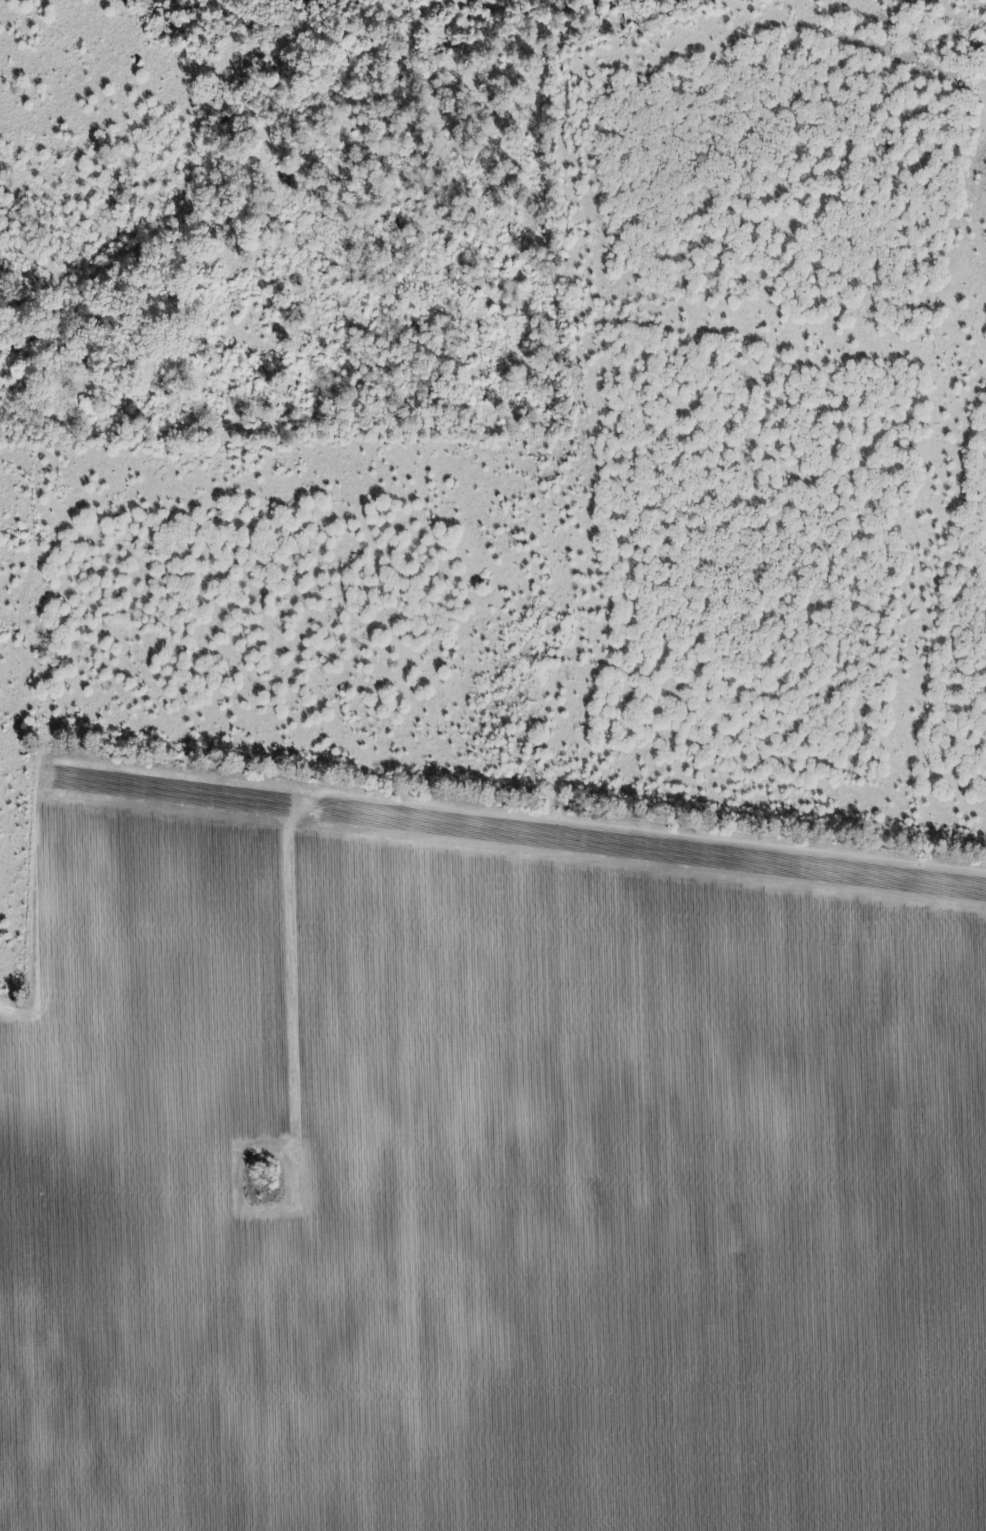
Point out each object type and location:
road: (3, 281)
road: (30, 488)
road: (774, 844)

